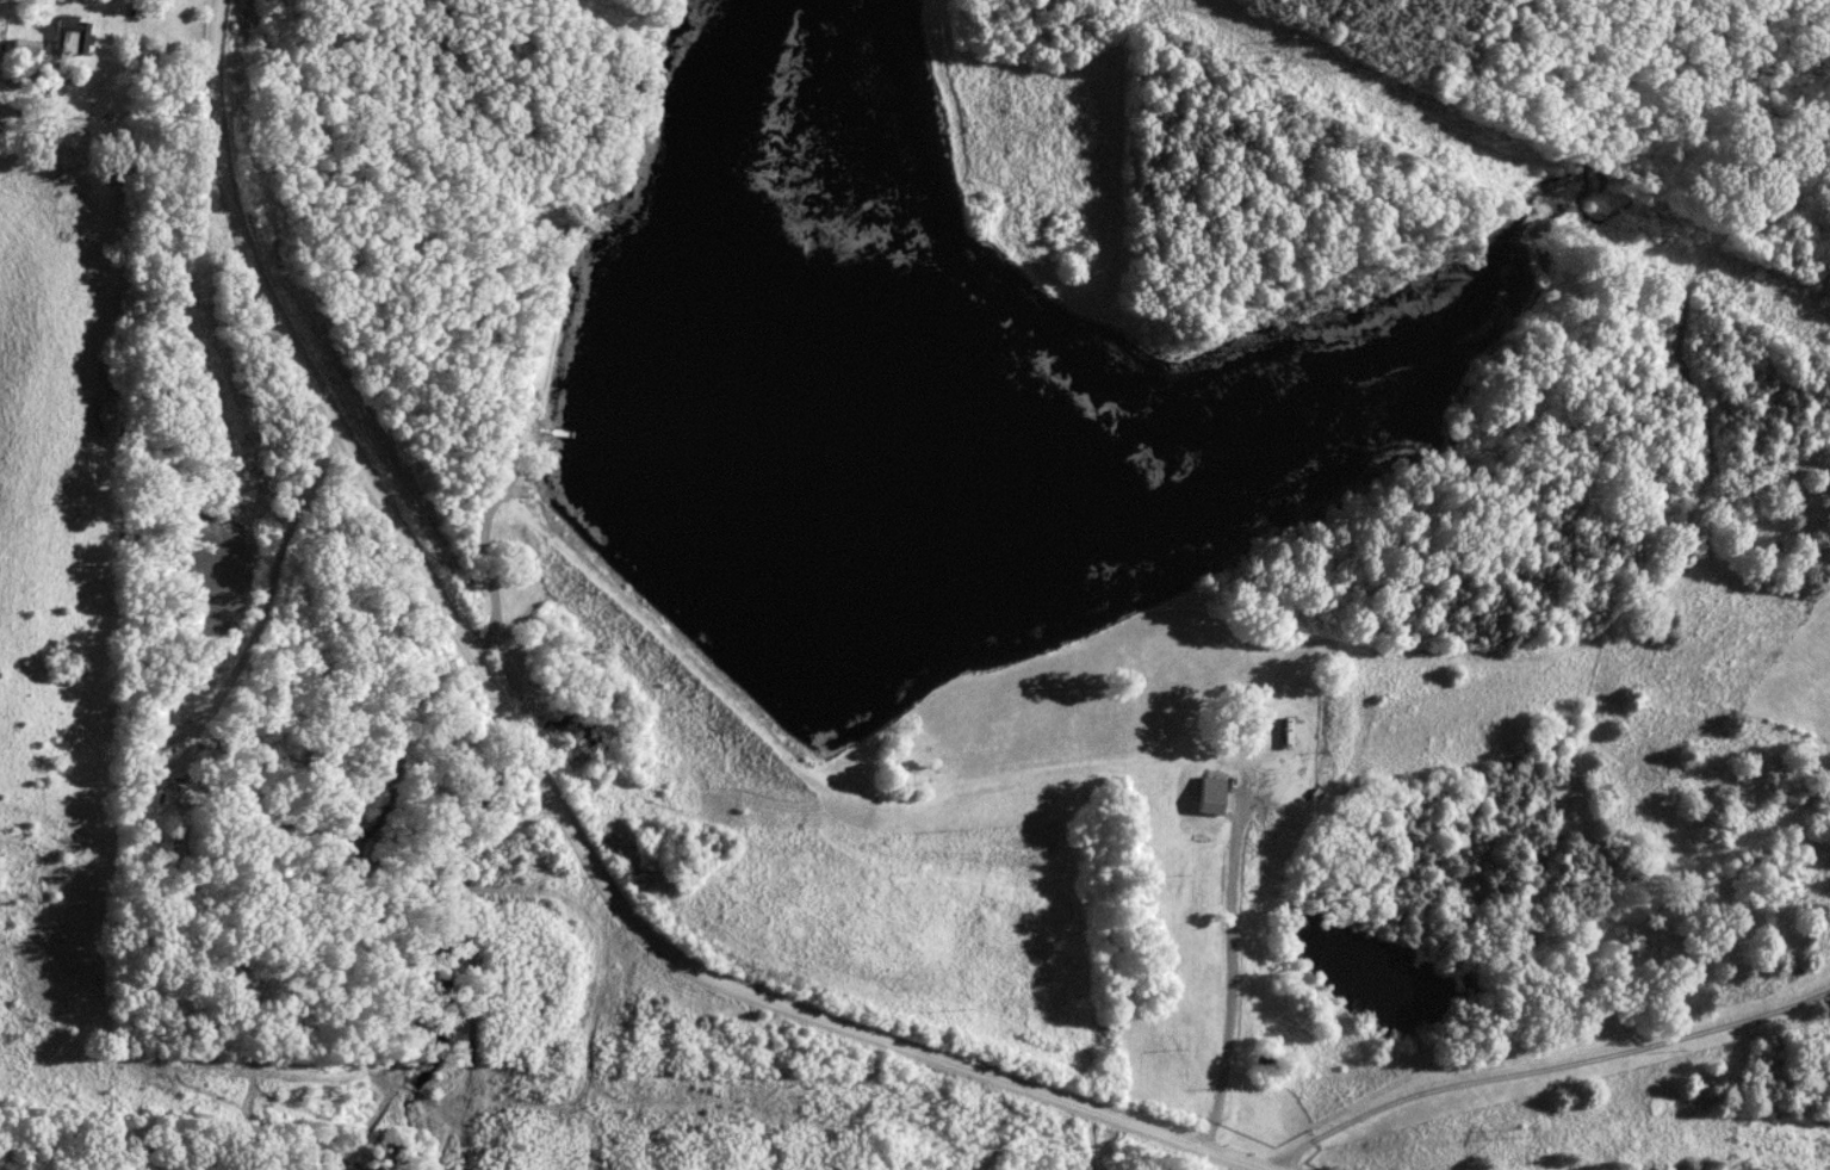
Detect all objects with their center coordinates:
building: (69, 38)
road: (266, 587)
building: (1288, 731)
road: (535, 764)
building: (1210, 797)
building: (179, 838)
road: (1229, 995)
road: (1546, 1070)
power tower: (323, 1089)
power tower: (1518, 1129)

